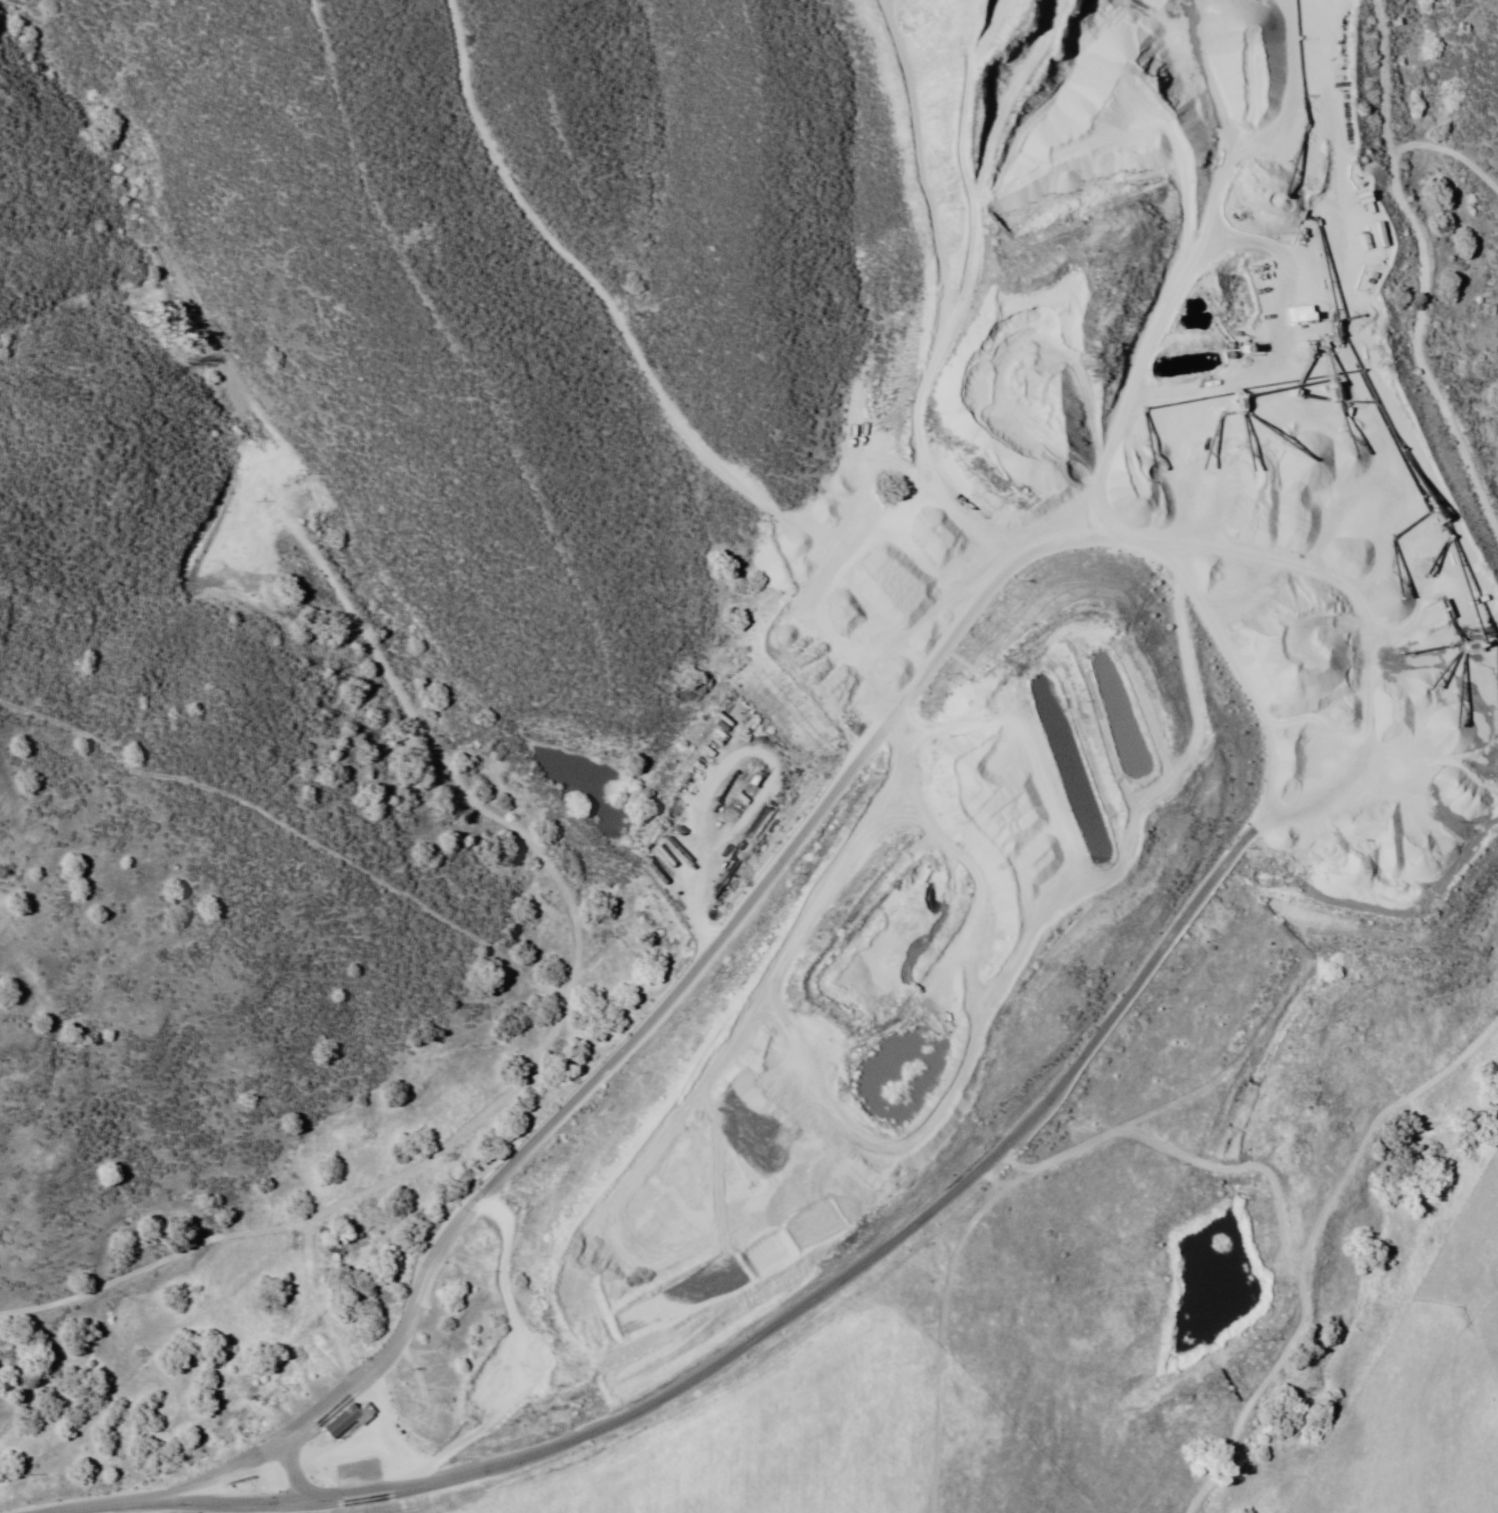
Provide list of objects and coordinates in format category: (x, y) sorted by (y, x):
road: (1388, 140)
road: (947, 332)
quarry: (1371, 710)
road: (870, 745)
building: (676, 855)
road: (819, 1296)
building: (347, 1420)

